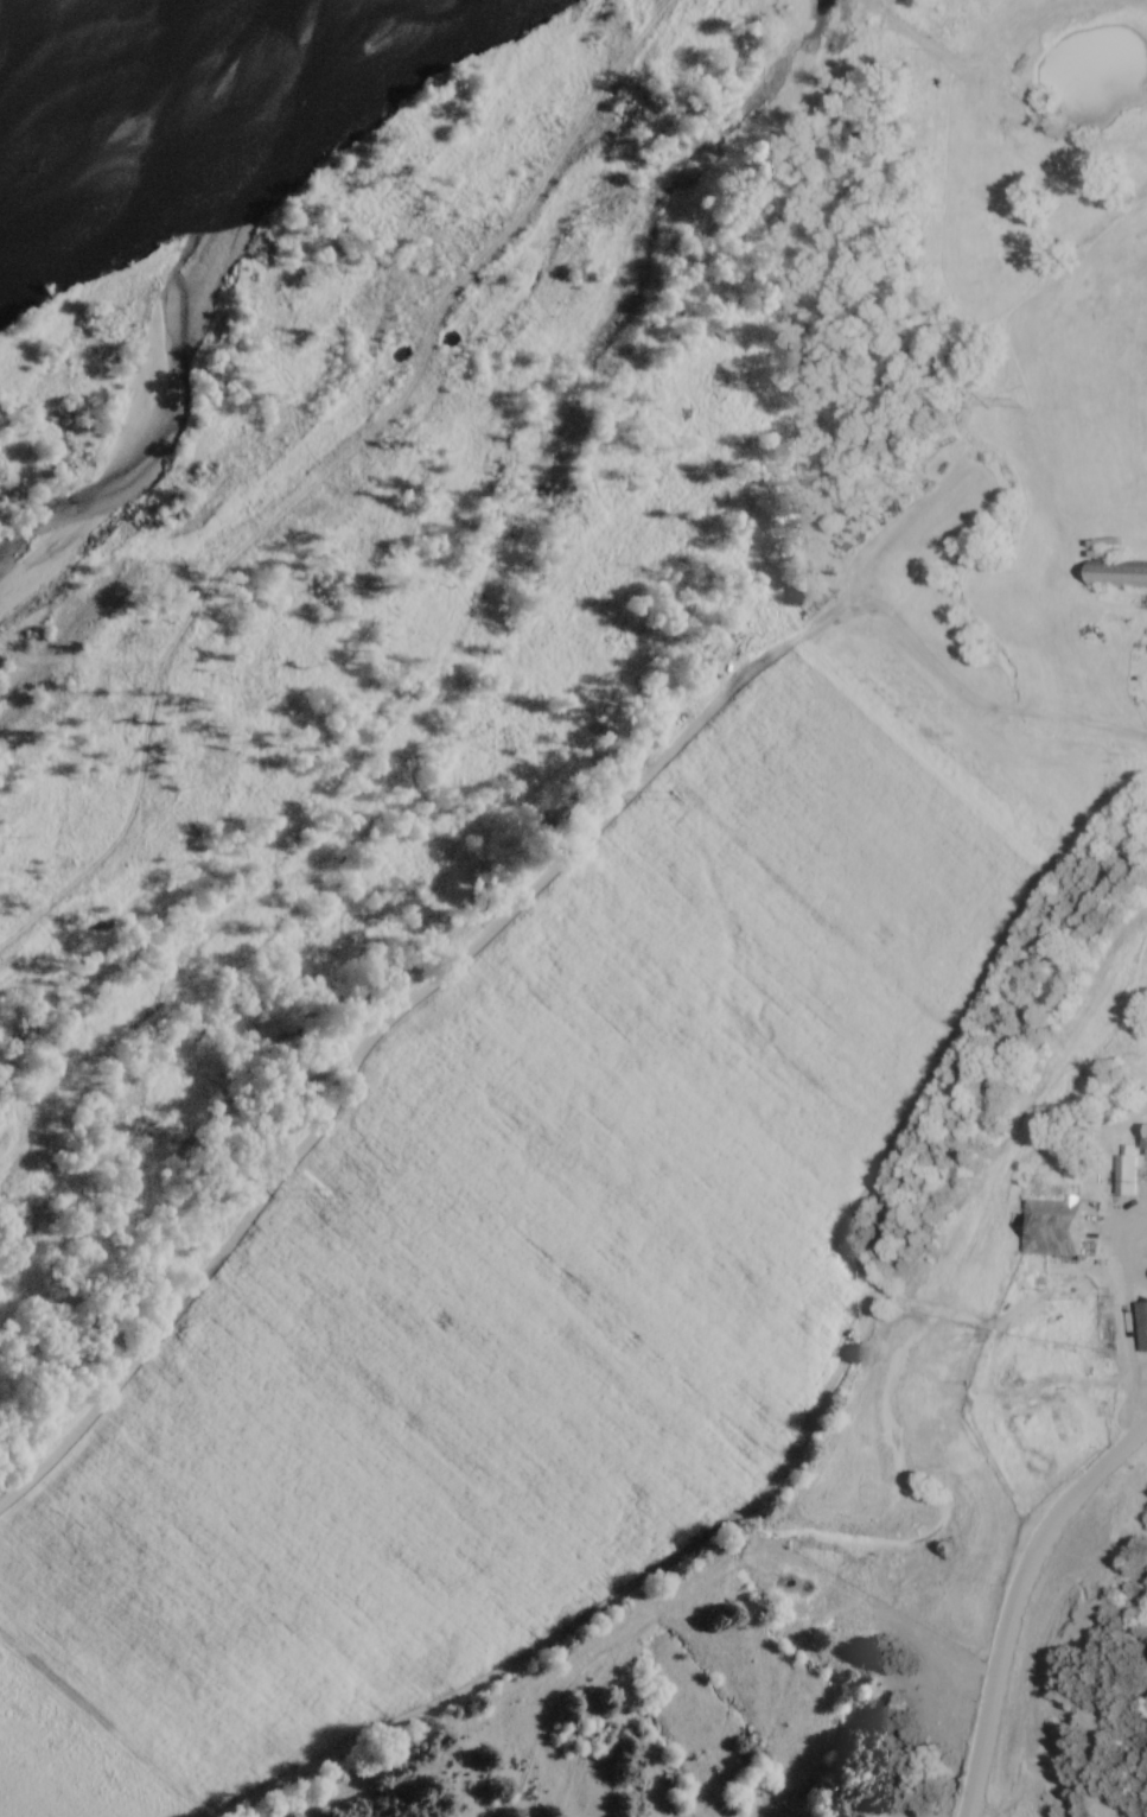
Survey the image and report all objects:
power tower: (1021, 404)
building: (1115, 573)
building: (796, 585)
power tower: (675, 795)
building: (1143, 1139)
building: (1123, 1163)
power tower: (321, 1193)
building: (1049, 1226)
building: (1140, 1324)
road: (1126, 1332)
road: (1015, 1605)

